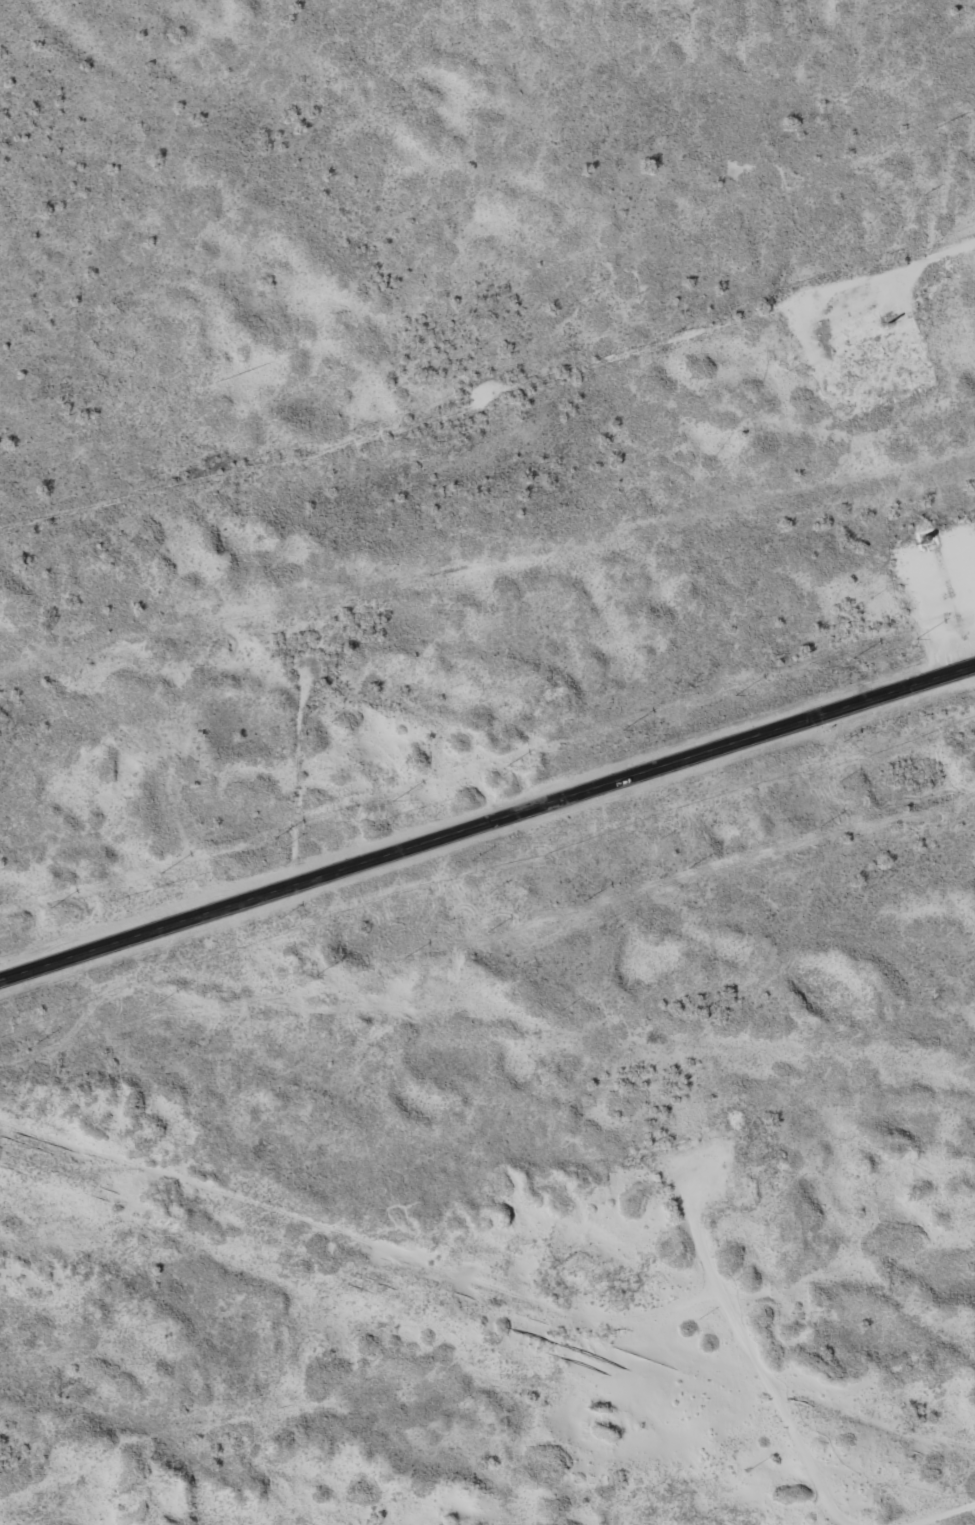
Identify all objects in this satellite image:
road: (493, 426)
road: (487, 819)
road: (770, 1343)

